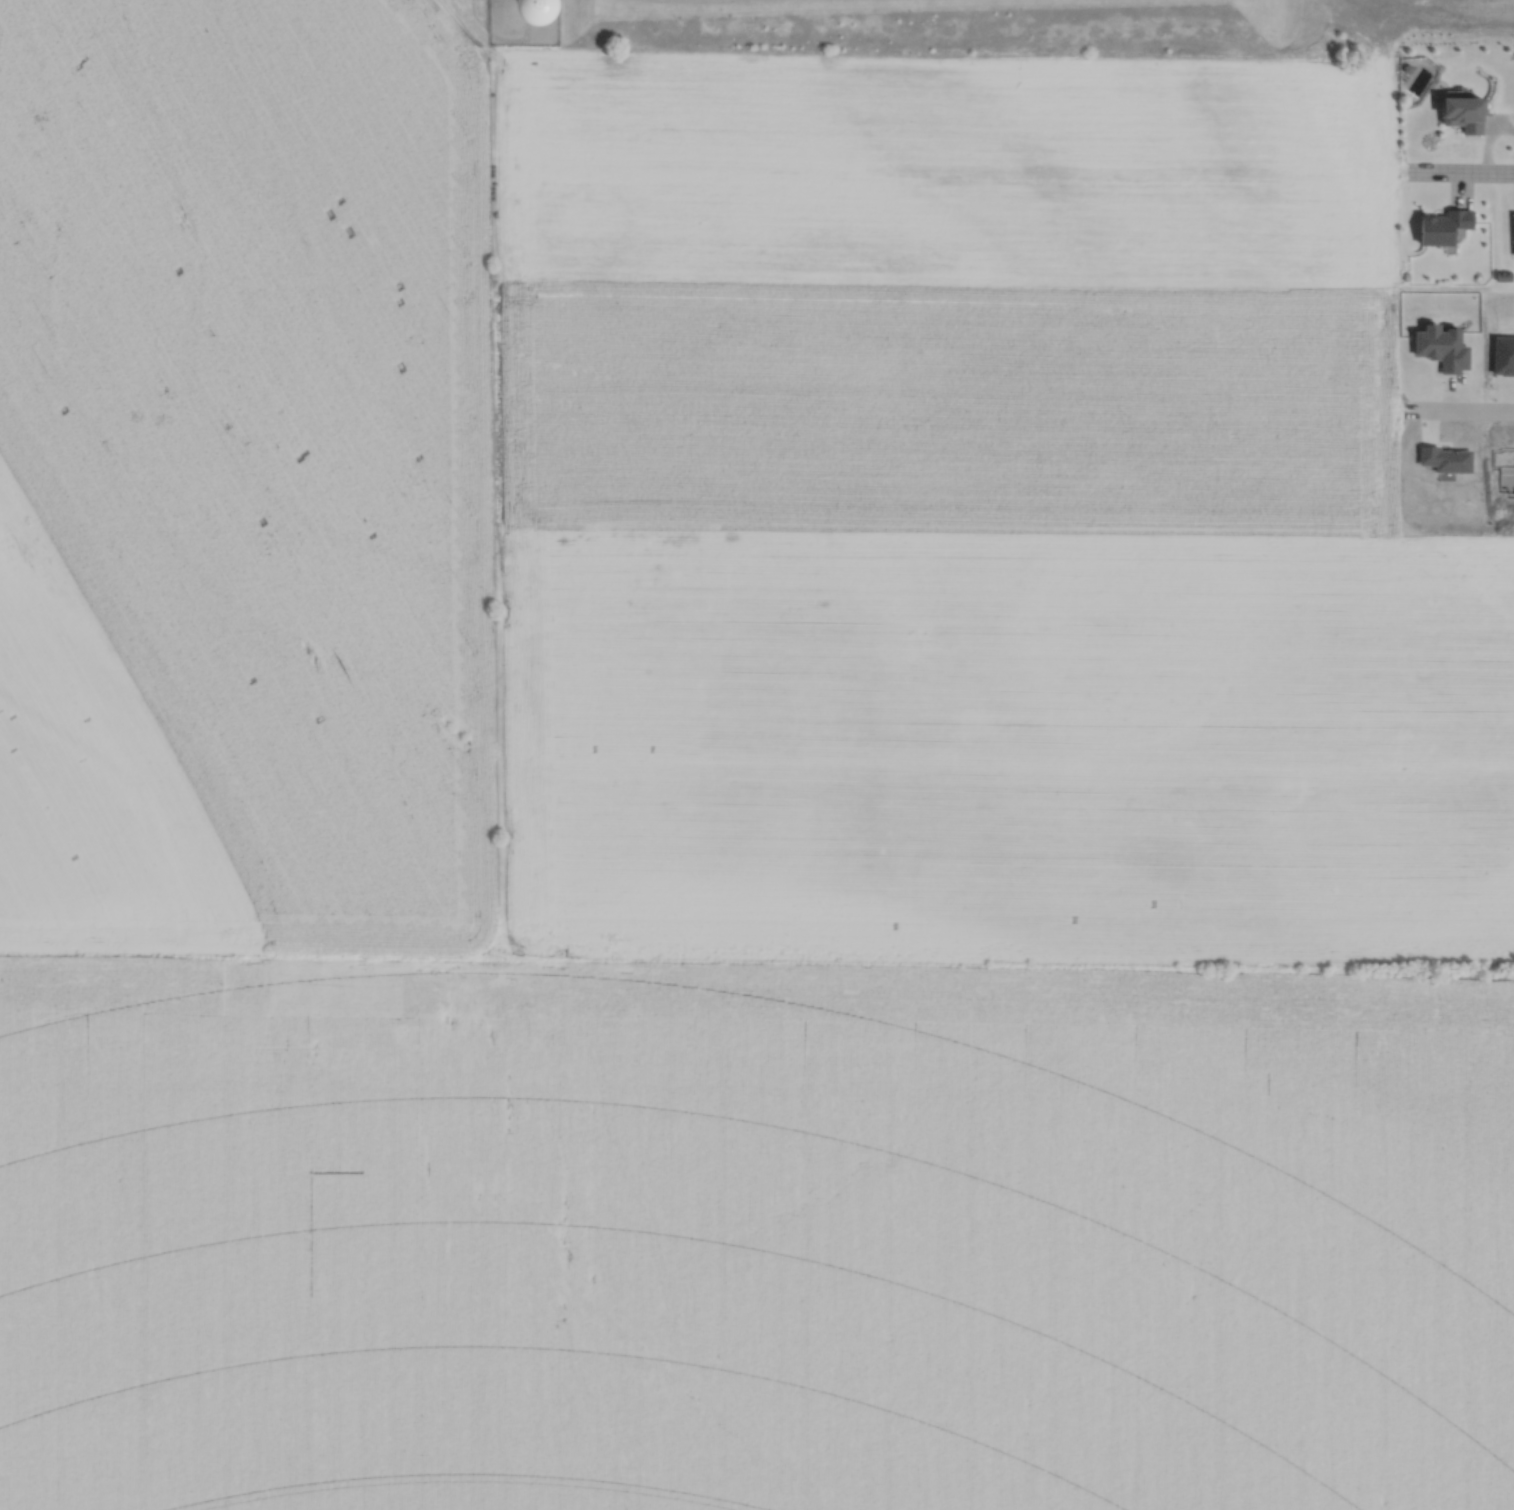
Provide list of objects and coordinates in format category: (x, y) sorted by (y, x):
building: (1459, 112)
road: (1462, 168)
road: (1463, 411)

